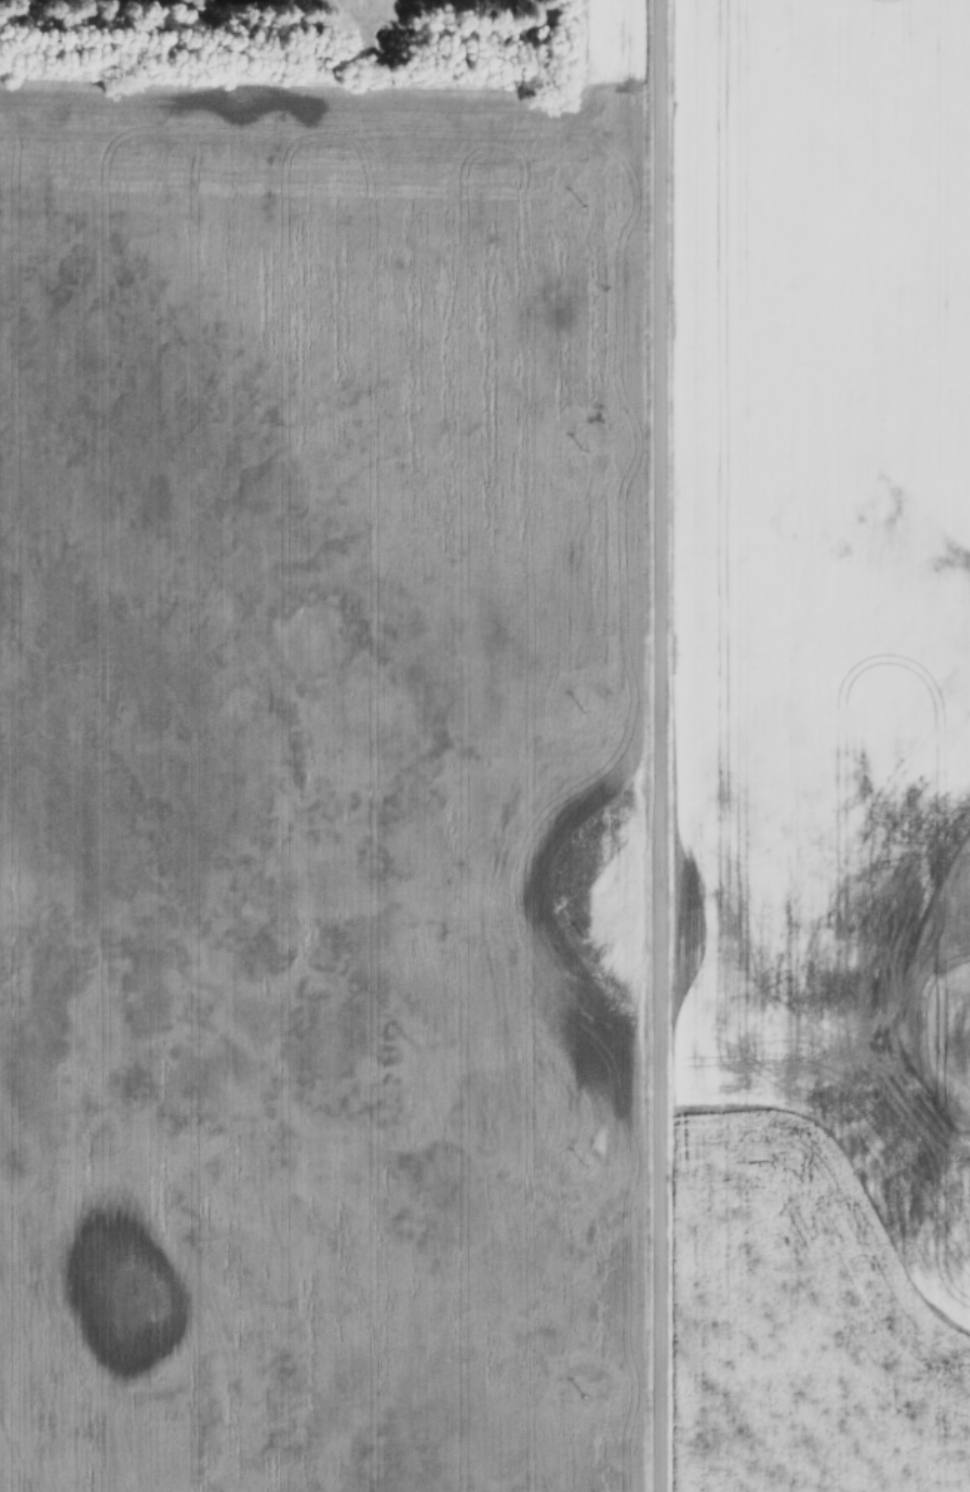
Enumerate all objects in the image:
road: (654, 746)

